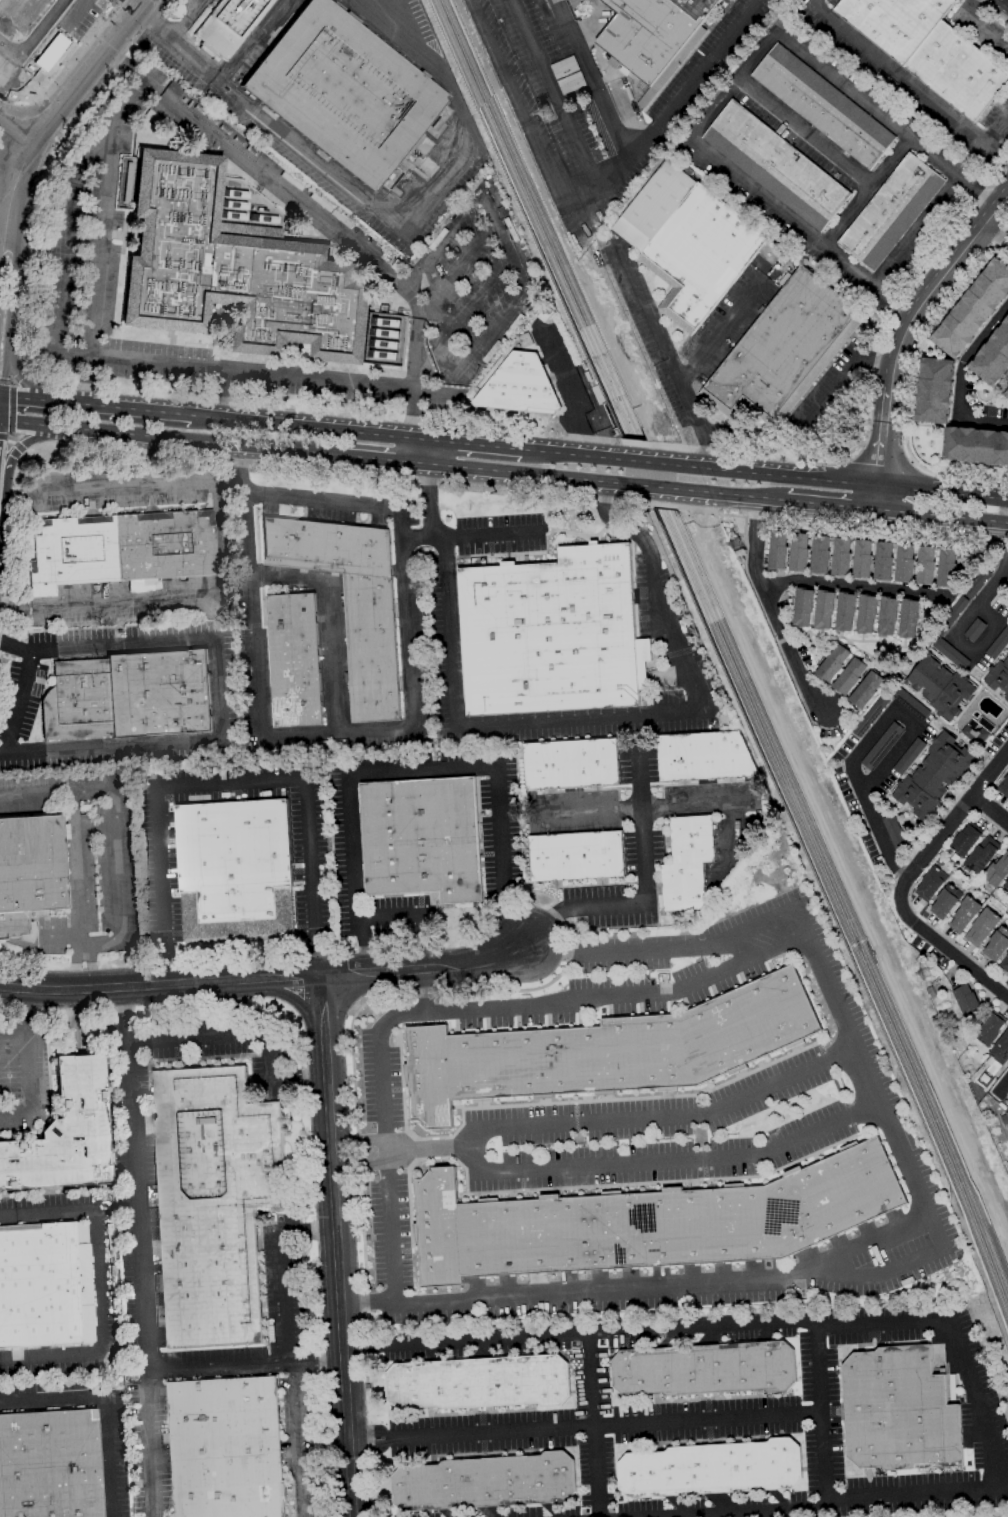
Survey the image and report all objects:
building: (561, 0)
road: (1007, 0)
building: (571, 3)
road: (140, 4)
road: (992, 11)
road: (982, 23)
building: (230, 25)
road: (174, 32)
building: (651, 33)
road: (50, 34)
road: (251, 40)
building: (928, 49)
road: (12, 57)
road: (94, 70)
road: (591, 81)
road: (911, 83)
road: (733, 87)
building: (344, 92)
railway: (486, 94)
railway: (475, 96)
road: (556, 98)
road: (519, 105)
power tower: (545, 106)
building: (823, 107)
road: (667, 113)
road: (886, 120)
road: (18, 130)
road: (207, 132)
road: (804, 133)
road: (995, 152)
road: (43, 166)
building: (775, 166)
road: (13, 183)
road: (6, 187)
road: (865, 192)
road: (395, 208)
building: (890, 212)
road: (449, 228)
road: (801, 229)
road: (915, 232)
road: (994, 238)
road: (4, 239)
building: (687, 243)
road: (507, 250)
road: (457, 268)
building: (234, 270)
road: (936, 283)
road: (475, 296)
road: (422, 305)
building: (972, 310)
road: (11, 314)
building: (543, 314)
road: (495, 326)
building: (385, 330)
road: (717, 332)
building: (524, 340)
road: (443, 347)
building: (782, 350)
road: (966, 355)
building: (992, 357)
road: (667, 359)
road: (249, 370)
road: (911, 379)
road: (22, 380)
road: (5, 382)
building: (519, 387)
building: (935, 391)
road: (570, 393)
building: (1007, 395)
road: (1, 396)
traffic signals: (2, 397)
road: (992, 397)
road: (102, 407)
road: (1, 409)
road: (12, 410)
road: (807, 417)
road: (984, 421)
traffic signals: (0, 422)
road: (310, 427)
road: (880, 435)
road: (5, 437)
road: (155, 439)
road: (468, 443)
road: (21, 446)
building: (976, 446)
road: (574, 454)
railway: (646, 455)
railway: (635, 459)
road: (366, 461)
road: (643, 462)
road: (530, 475)
road: (832, 481)
road: (201, 483)
road: (423, 486)
road: (654, 487)
road: (726, 494)
road: (873, 497)
road: (626, 501)
road: (828, 504)
road: (662, 505)
road: (940, 515)
road: (841, 529)
road: (481, 534)
road: (416, 535)
power tower: (733, 537)
road: (9, 539)
building: (121, 548)
building: (777, 550)
building: (798, 552)
building: (819, 554)
building: (840, 557)
building: (862, 559)
building: (883, 561)
building: (904, 563)
building: (925, 565)
building: (946, 567)
building: (976, 583)
road: (854, 586)
road: (987, 592)
building: (1007, 597)
building: (350, 601)
road: (102, 604)
building: (802, 607)
road: (769, 609)
building: (823, 609)
building: (844, 611)
building: (866, 613)
building: (949, 615)
building: (887, 616)
road: (407, 618)
building: (908, 618)
road: (327, 622)
building: (974, 630)
building: (551, 634)
building: (998, 643)
road: (15, 648)
building: (949, 654)
building: (294, 661)
building: (832, 663)
road: (255, 668)
building: (998, 676)
building: (849, 677)
building: (939, 687)
building: (865, 690)
building: (128, 696)
building: (910, 703)
road: (16, 705)
road: (218, 712)
building: (871, 714)
road: (610, 716)
road: (906, 721)
building: (974, 734)
building: (881, 746)
road: (0, 755)
building: (703, 756)
building: (908, 757)
building: (570, 764)
road: (410, 769)
building: (933, 775)
road: (226, 783)
building: (1003, 787)
road: (35, 794)
road: (698, 800)
road: (990, 810)
road: (954, 819)
road: (874, 823)
building: (893, 832)
building: (421, 838)
building: (965, 839)
building: (981, 855)
building: (576, 856)
parking lot: (85, 858)
building: (686, 863)
road: (645, 867)
building: (234, 870)
building: (997, 870)
building: (29, 872)
building: (930, 884)
building: (1005, 887)
building: (945, 902)
building: (963, 914)
road: (387, 916)
building: (981, 927)
road: (60, 936)
road: (118, 940)
building: (996, 945)
road: (943, 947)
road: (735, 950)
road: (89, 963)
building: (1004, 964)
road: (74, 965)
road: (448, 966)
power tower: (927, 968)
road: (344, 973)
road: (13, 984)
road: (159, 984)
road: (13, 989)
road: (422, 989)
building: (965, 999)
road: (459, 1006)
railway: (888, 1008)
railway: (885, 1023)
road: (11, 1025)
building: (988, 1030)
road: (241, 1034)
building: (1000, 1050)
building: (607, 1051)
road: (25, 1063)
road: (1003, 1086)
building: (1004, 1118)
building: (64, 1134)
road: (428, 1152)
road: (469, 1161)
road: (911, 1182)
building: (213, 1202)
building: (648, 1222)
road: (307, 1231)
road: (335, 1246)
road: (139, 1251)
road: (899, 1265)
road: (102, 1284)
building: (38, 1285)
road: (368, 1303)
road: (697, 1326)
road: (480, 1339)
road: (244, 1366)
building: (705, 1369)
road: (293, 1374)
building: (479, 1383)
road: (106, 1403)
building: (898, 1411)
road: (591, 1424)
road: (980, 1424)
road: (582, 1426)
building: (225, 1448)
building: (50, 1464)
building: (711, 1469)
building: (484, 1483)
road: (821, 1483)

